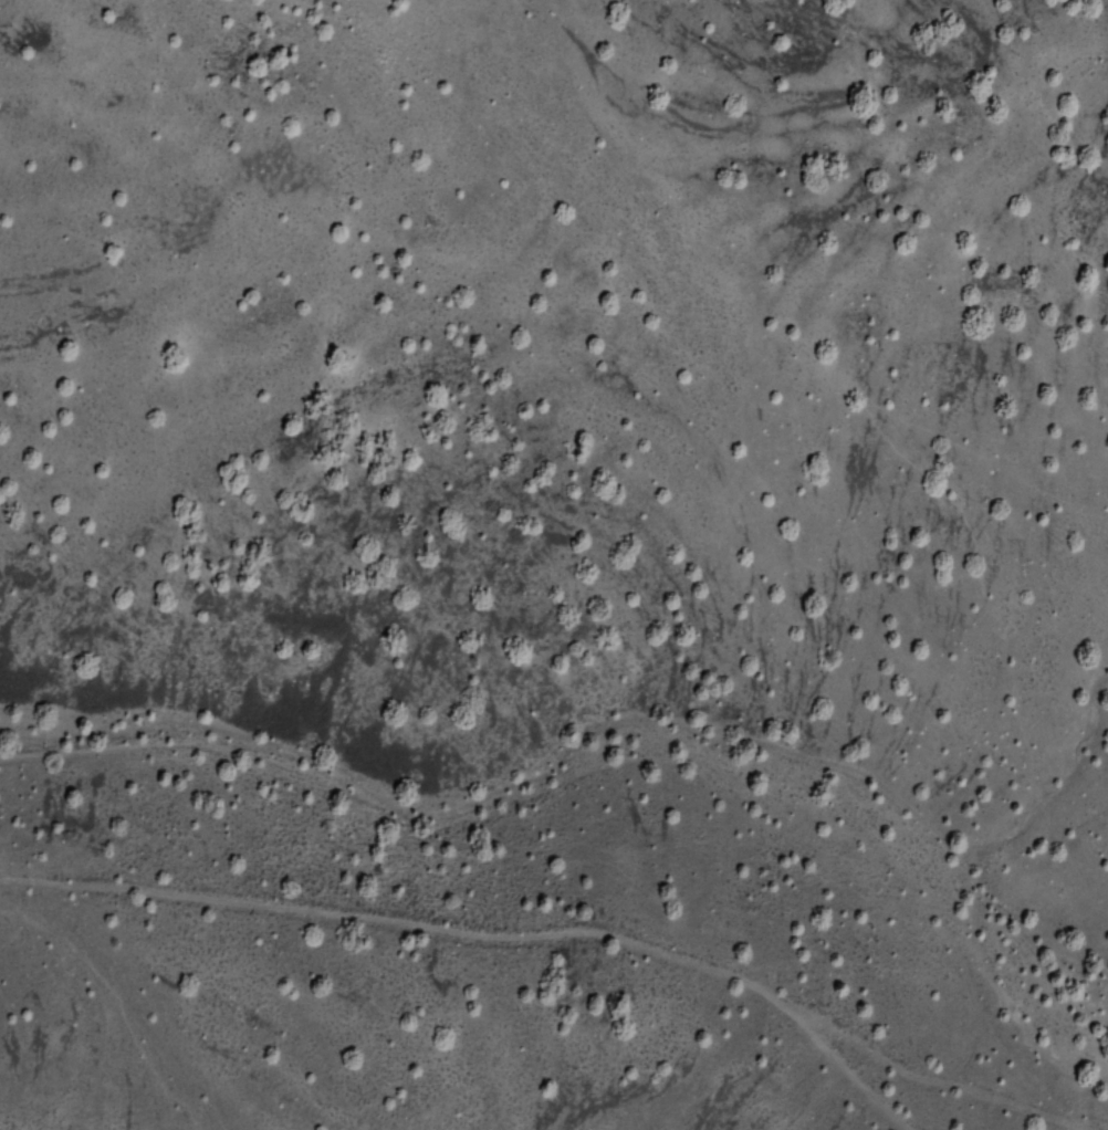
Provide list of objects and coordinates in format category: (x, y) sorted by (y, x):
road: (487, 937)

